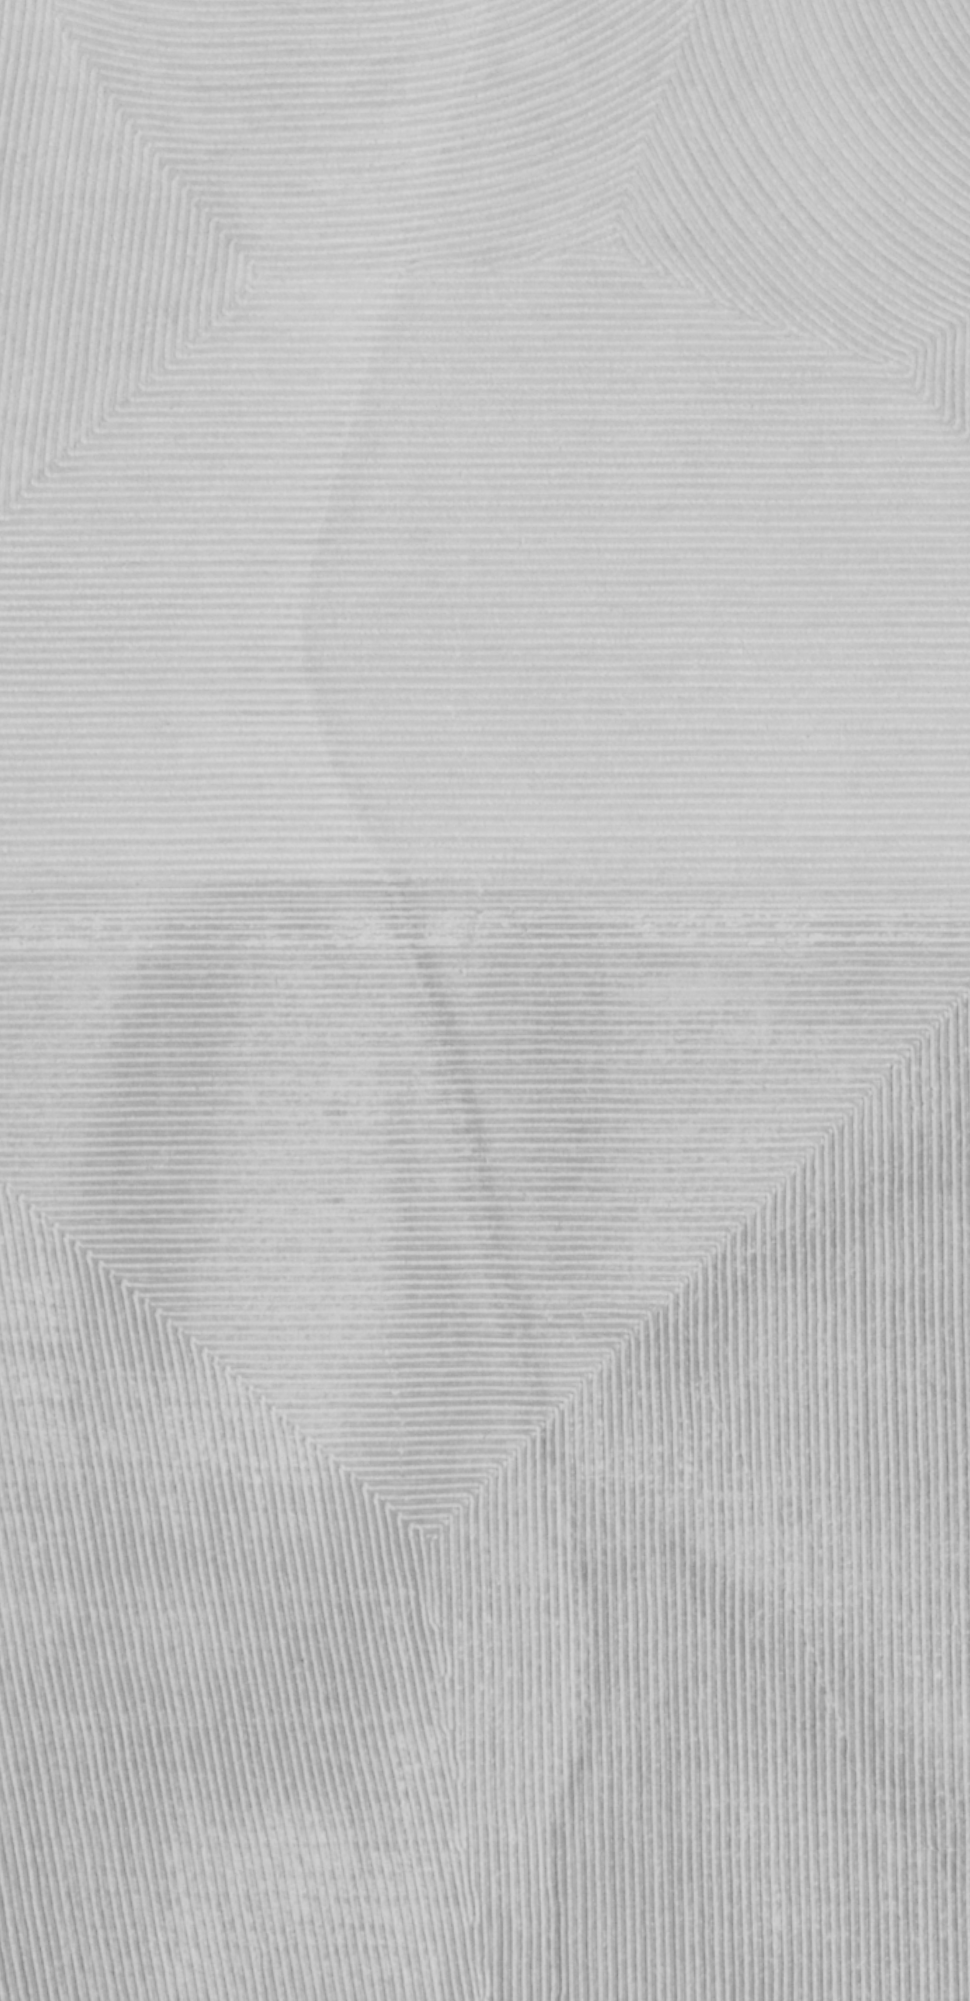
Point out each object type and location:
crop: (485, 1000)

